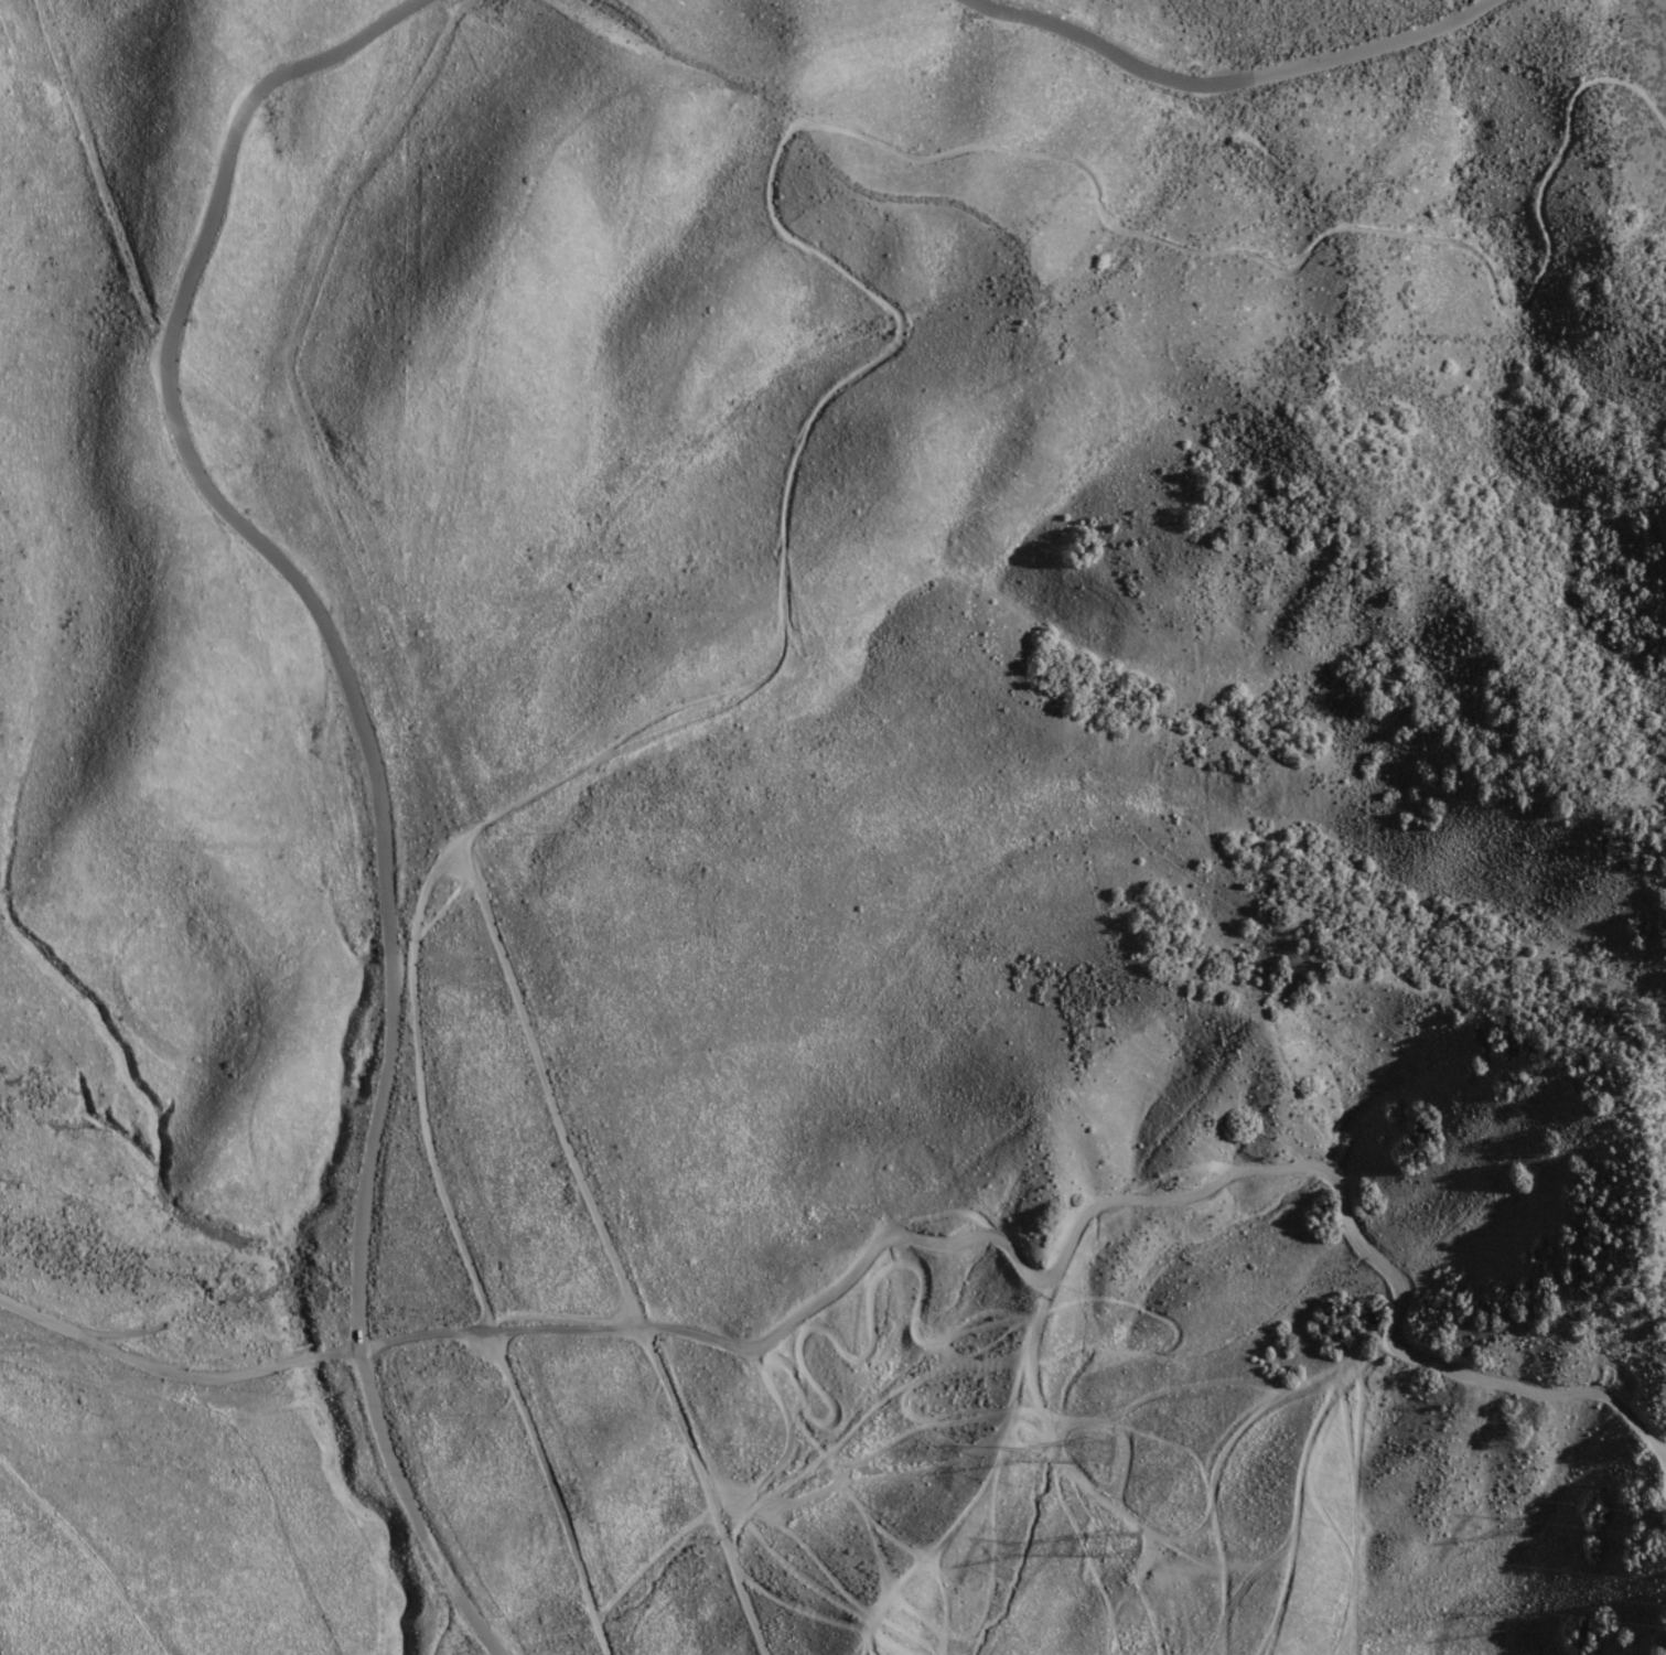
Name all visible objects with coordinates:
road: (1232, 83)
road: (850, 377)
road: (369, 755)
road: (1337, 1182)
road: (611, 1250)
road: (731, 1348)
road: (341, 1355)
road: (139, 1357)
road: (304, 1363)
road: (1611, 1403)
power tower: (1097, 1454)
power tower: (1122, 1546)

